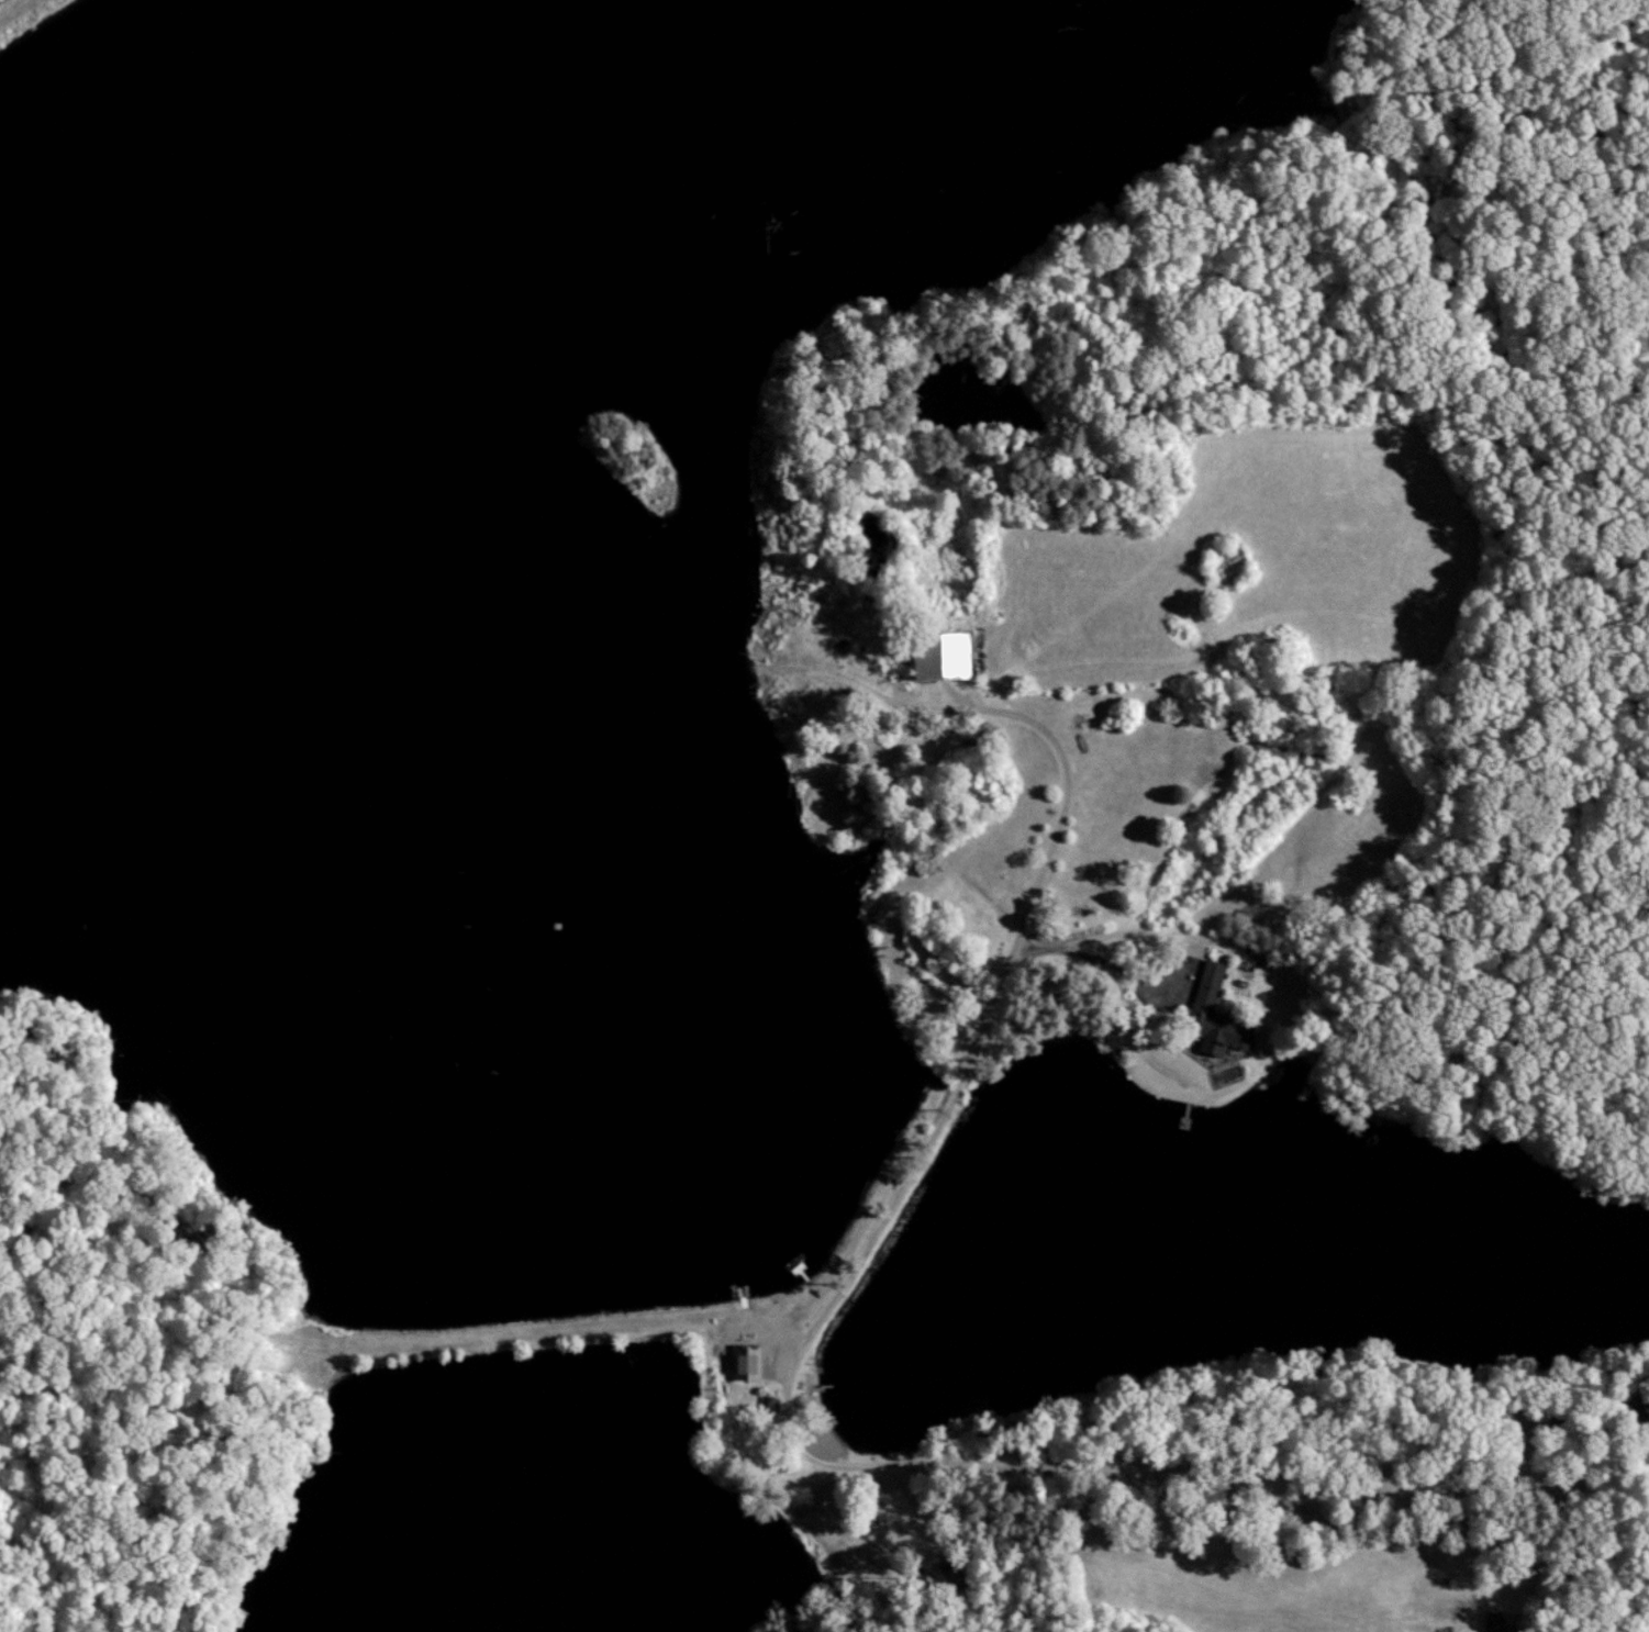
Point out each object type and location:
building: (935, 655)
road: (1170, 941)
building: (1205, 988)
road: (954, 1103)
building: (743, 1362)
road: (1290, 1499)

